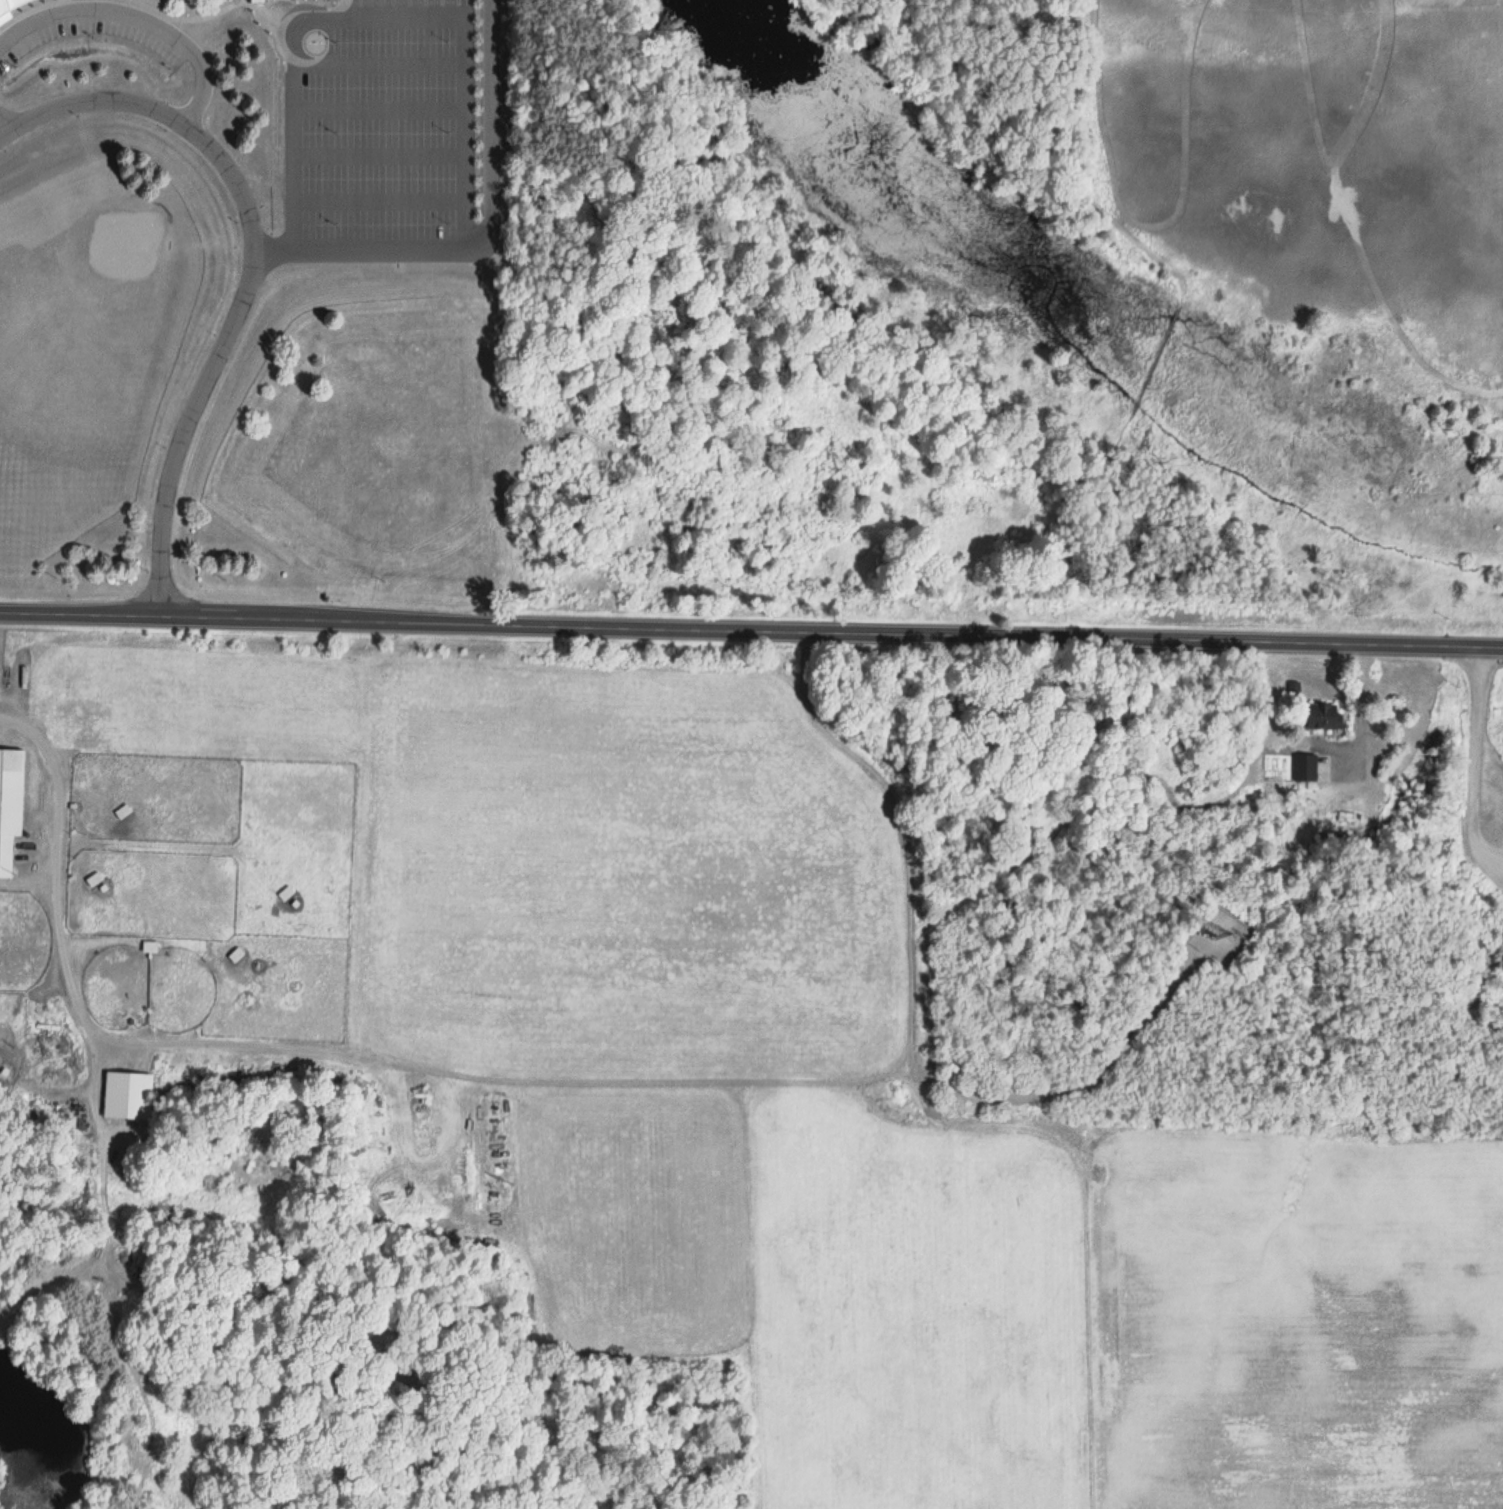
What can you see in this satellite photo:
building: (256, 2)
building: (10, 5)
road: (133, 20)
parking lot: (93, 35)
road: (462, 69)
road: (294, 76)
road: (378, 112)
road: (162, 114)
parking lot: (377, 125)
road: (5, 127)
road: (379, 157)
road: (380, 203)
road: (303, 252)
road: (751, 629)
building: (1324, 717)
building: (1304, 769)
building: (9, 804)
building: (126, 1097)
road: (926, 1111)

